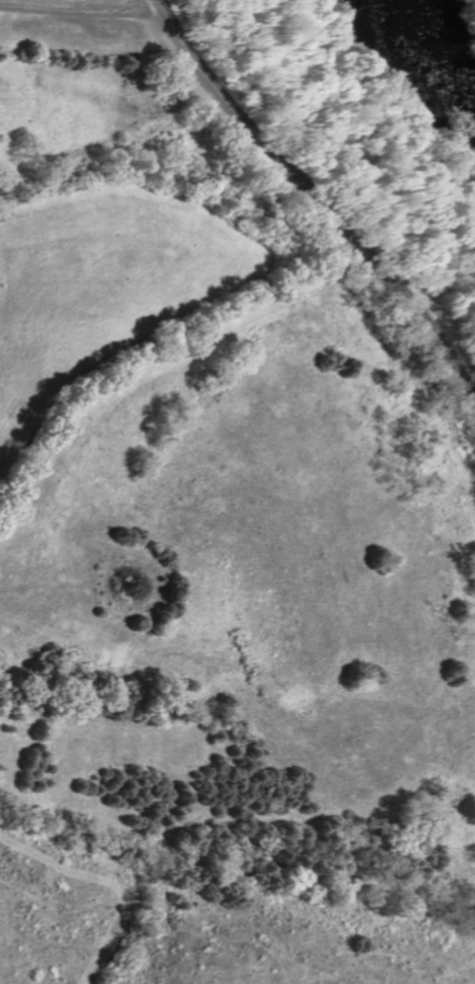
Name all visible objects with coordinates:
road: (77, 10)
river: (424, 53)
road: (314, 203)

